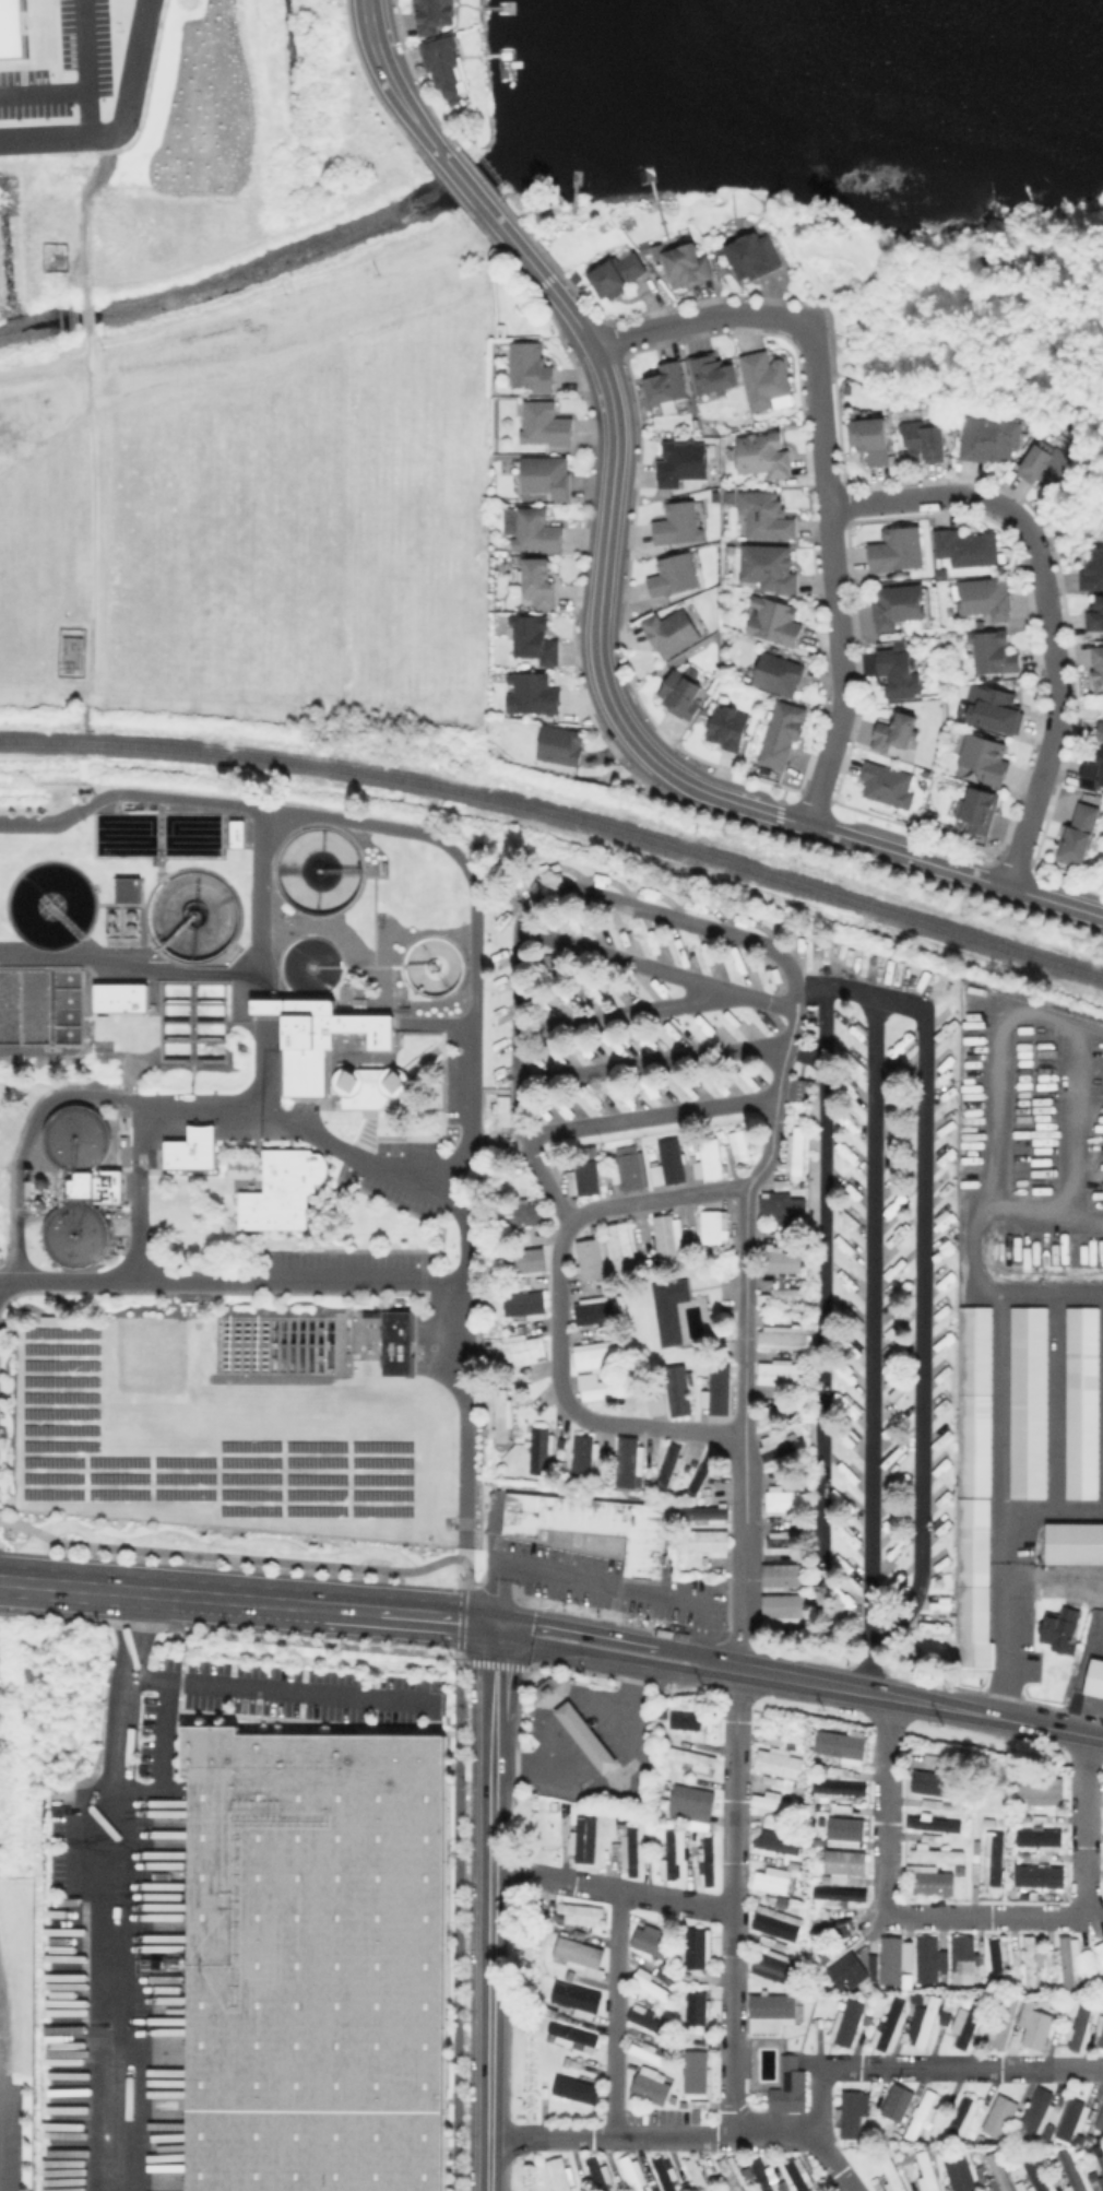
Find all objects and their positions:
building: (436, 12)
building: (14, 32)
building: (446, 67)
road: (87, 69)
road: (390, 82)
road: (44, 94)
road: (121, 125)
road: (461, 179)
road: (83, 212)
building: (754, 251)
building: (688, 267)
building: (615, 272)
road: (86, 317)
road: (697, 320)
building: (531, 367)
building: (716, 375)
building: (764, 376)
building: (667, 384)
building: (850, 387)
building: (545, 424)
building: (991, 435)
building: (873, 436)
building: (925, 437)
building: (762, 452)
building: (1045, 461)
building: (683, 463)
building: (548, 476)
building: (730, 495)
road: (93, 511)
building: (764, 511)
building: (506, 520)
building: (679, 525)
building: (537, 531)
road: (606, 539)
building: (966, 544)
building: (898, 546)
building: (732, 550)
building: (771, 564)
building: (1092, 567)
building: (944, 572)
building: (674, 577)
road: (832, 577)
building: (538, 585)
building: (986, 593)
building: (896, 602)
road: (1045, 603)
building: (1093, 612)
building: (773, 623)
building: (672, 633)
building: (535, 640)
building: (995, 653)
building: (1096, 665)
building: (900, 674)
building: (780, 675)
building: (534, 695)
building: (679, 695)
building: (994, 709)
building: (728, 728)
building: (898, 728)
building: (1100, 732)
building: (781, 738)
building: (559, 746)
building: (985, 758)
building: (1092, 778)
building: (888, 785)
building: (980, 811)
railway: (559, 817)
building: (239, 835)
building: (1078, 836)
road: (940, 867)
building: (130, 891)
road: (671, 915)
building: (651, 938)
road: (659, 969)
road: (207, 970)
building: (122, 999)
road: (618, 1014)
building: (303, 1032)
building: (323, 1041)
road: (473, 1058)
road: (652, 1063)
building: (367, 1085)
building: (796, 1088)
road: (177, 1099)
road: (991, 1107)
building: (506, 1114)
road: (650, 1116)
building: (738, 1146)
building: (795, 1150)
building: (193, 1151)
building: (707, 1159)
building: (666, 1163)
building: (634, 1173)
wastewater plant: (239, 1177)
building: (585, 1182)
building: (95, 1188)
road: (133, 1190)
building: (283, 1192)
road: (656, 1198)
building: (779, 1203)
building: (523, 1217)
building: (710, 1226)
building: (73, 1234)
building: (665, 1238)
building: (624, 1248)
building: (779, 1260)
building: (591, 1261)
building: (530, 1263)
road: (821, 1268)
building: (779, 1298)
road: (868, 1299)
road: (927, 1304)
building: (527, 1307)
building: (667, 1309)
building: (595, 1312)
building: (780, 1336)
building: (400, 1342)
road: (997, 1350)
building: (525, 1352)
building: (597, 1354)
building: (778, 1374)
building: (715, 1389)
building: (607, 1391)
building: (1027, 1401)
building: (1080, 1402)
road: (464, 1409)
building: (768, 1415)
building: (505, 1420)
building: (779, 1444)
building: (542, 1452)
building: (584, 1458)
building: (665, 1464)
building: (630, 1465)
building: (975, 1491)
building: (782, 1500)
road: (1052, 1509)
building: (701, 1513)
building: (591, 1524)
building: (779, 1539)
road: (1005, 1540)
building: (705, 1541)
building: (1072, 1543)
road: (246, 1557)
building: (780, 1575)
road: (592, 1582)
road: (1004, 1597)
road: (247, 1602)
building: (781, 1609)
road: (462, 1617)
traffic signals: (494, 1624)
building: (1057, 1628)
road: (573, 1632)
road: (572, 1649)
road: (697, 1654)
road: (697, 1672)
building: (1094, 1678)
road: (284, 1687)
road: (846, 1688)
building: (574, 1719)
road: (999, 1719)
building: (685, 1720)
road: (1074, 1733)
building: (838, 1745)
building: (689, 1757)
building: (775, 1764)
road: (617, 1780)
building: (929, 1782)
building: (837, 1787)
building: (1039, 1790)
road: (111, 1799)
building: (774, 1804)
building: (690, 1805)
building: (930, 1823)
building: (842, 1831)
building: (1036, 1836)
building: (581, 1839)
building: (773, 1845)
building: (934, 1854)
building: (667, 1856)
building: (991, 1858)
building: (704, 1861)
building: (841, 1863)
building: (1102, 1863)
building: (1036, 1875)
building: (769, 1880)
building: (929, 1881)
road: (612, 1890)
building: (838, 1893)
road: (734, 1903)
road: (490, 1907)
building: (576, 1913)
road: (964, 1916)
road: (459, 1920)
building: (774, 1922)
building: (648, 1940)
building: (695, 1947)
building: (1099, 1953)
building: (577, 1955)
building: (995, 1957)
building: (892, 1958)
building: (315, 1959)
building: (928, 1959)
building: (961, 1959)
building: (1067, 1960)
building: (1029, 1962)
building: (773, 1966)
building: (870, 1966)
building: (844, 1972)
building: (645, 1983)
building: (573, 1995)
building: (693, 2007)
building: (769, 2012)
road: (614, 2014)
building: (642, 2017)
building: (927, 2022)
building: (847, 2023)
building: (970, 2023)
building: (1004, 2024)
building: (1081, 2025)
building: (888, 2026)
building: (1036, 2027)
building: (1101, 2027)
building: (571, 2037)
building: (1102, 2043)
building: (648, 2053)
road: (926, 2069)
building: (693, 2071)
building: (649, 2085)
building: (786, 2086)
building: (574, 2092)
road: (109, 2098)
building: (899, 2106)
building: (852, 2116)
building: (923, 2117)
building: (1075, 2117)
building: (1001, 2118)
building: (1037, 2119)
building: (963, 2120)
building: (1100, 2124)
road: (681, 2137)
building: (1102, 2163)
building: (1013, 2166)
building: (597, 2172)
building: (630, 2172)
building: (733, 2172)
building: (892, 2172)
building: (928, 2172)
building: (1000, 2172)
building: (664, 2174)
building: (695, 2174)
building: (1072, 2174)
building: (558, 2175)
building: (796, 2175)
building: (960, 2175)
building: (1036, 2176)
building: (764, 2177)
building: (983, 2178)
building: (878, 2183)
building: (913, 2183)

